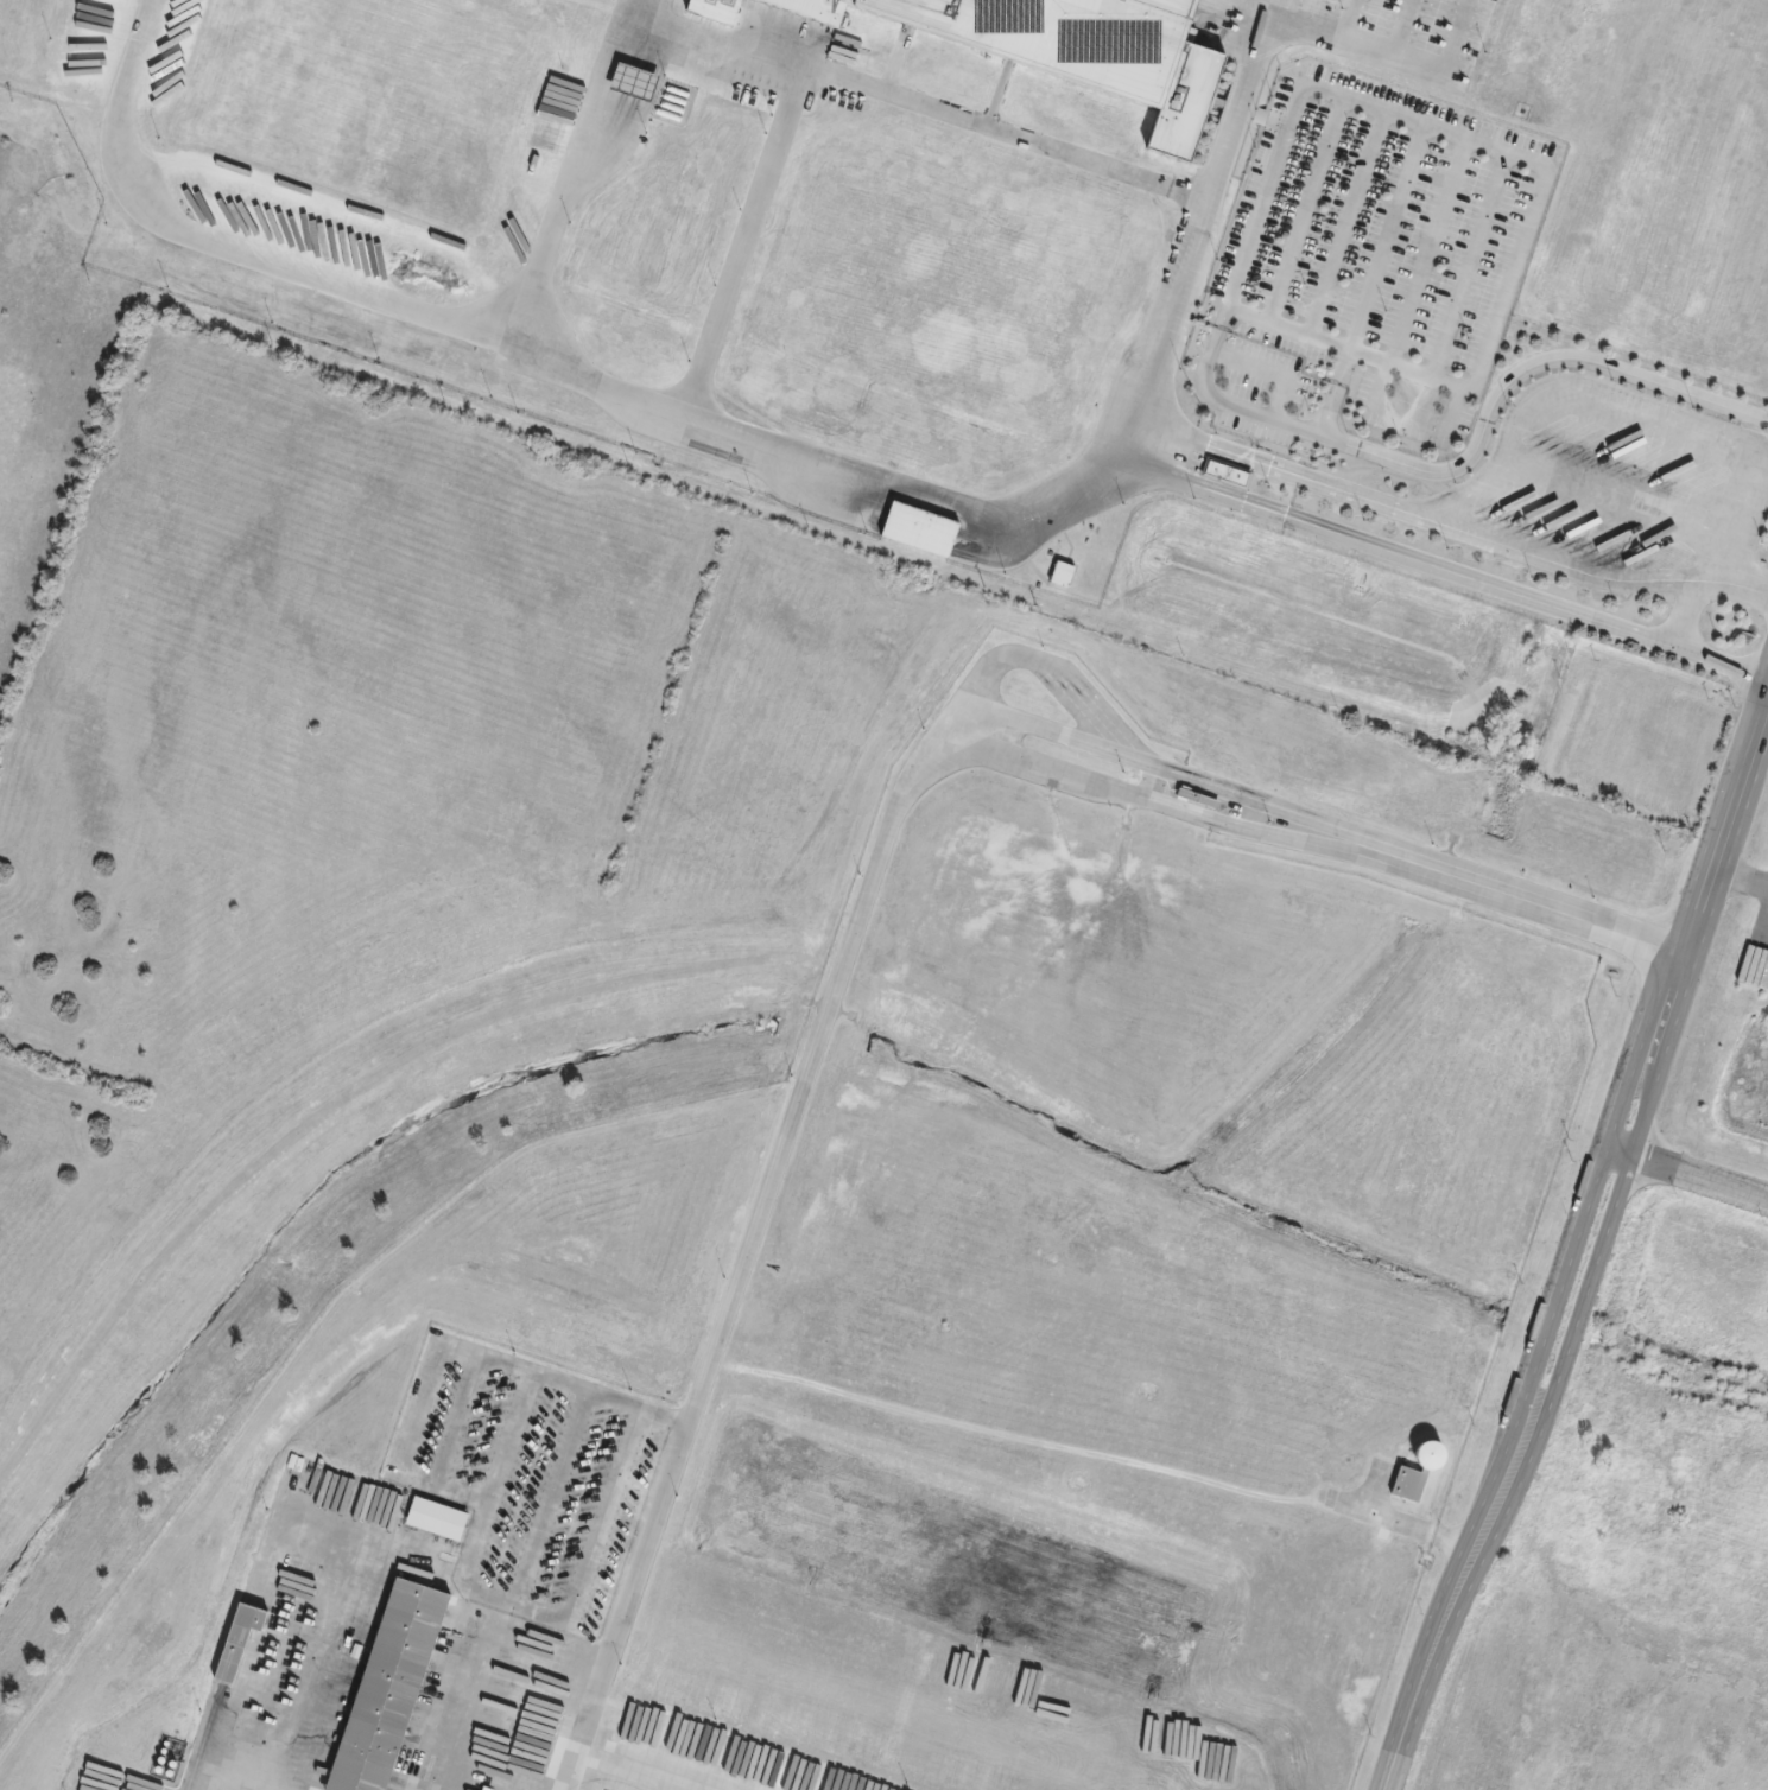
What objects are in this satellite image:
building: (835, 8)
building: (1050, 34)
road: (762, 55)
building: (1191, 68)
road: (1203, 231)
road: (532, 356)
road: (1512, 405)
building: (1229, 474)
building: (917, 529)
road: (1449, 572)
building: (1062, 575)
road: (976, 740)
road: (1760, 762)
road: (1718, 857)
road: (1741, 877)
road: (1699, 1181)
road: (1574, 1223)
road: (1604, 1233)
road: (418, 1452)
building: (1422, 1455)
road: (394, 1555)
road: (1446, 1611)
road: (616, 1629)
building: (382, 1687)
road: (569, 1772)
road: (207, 1784)

